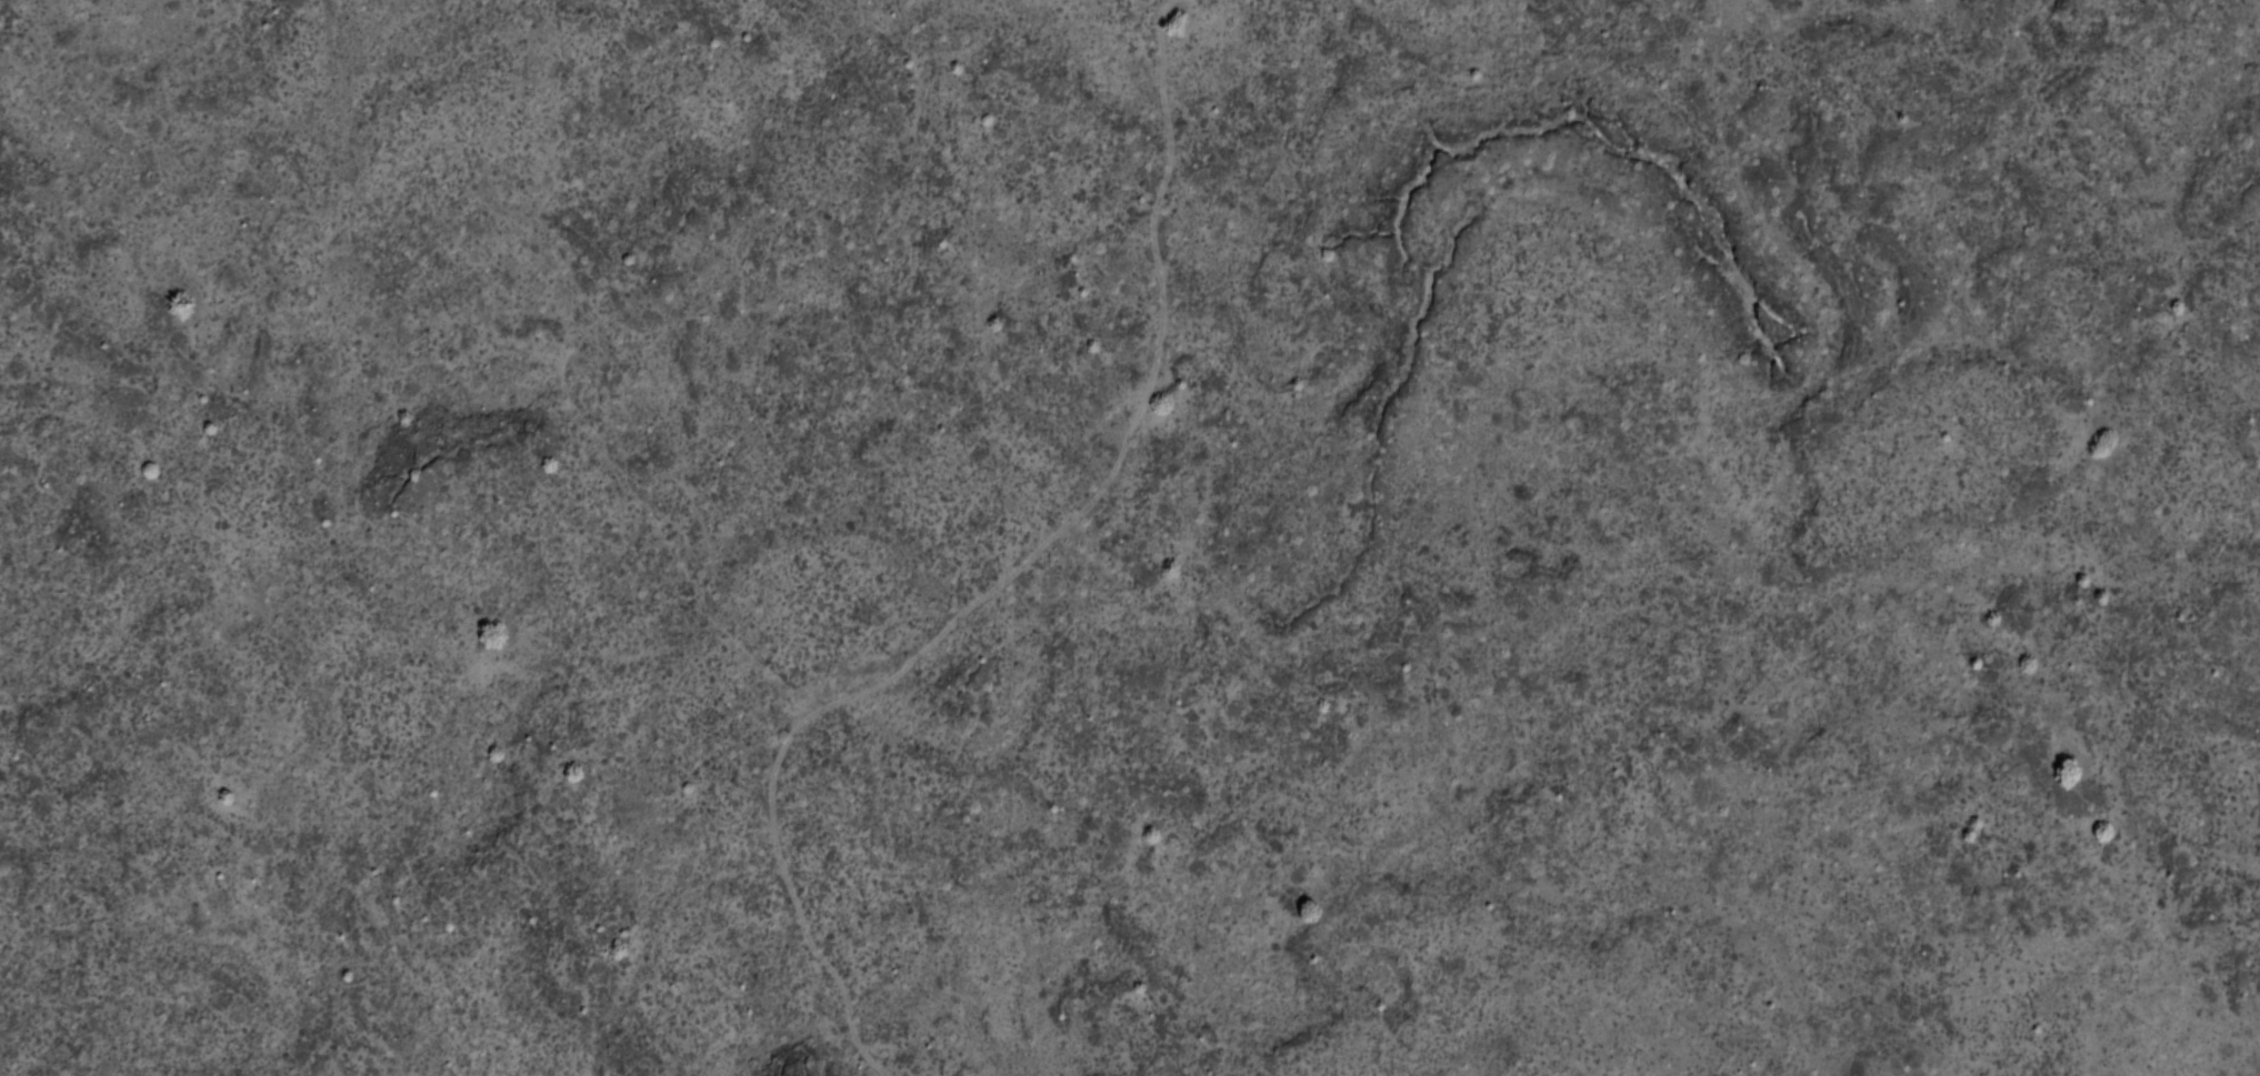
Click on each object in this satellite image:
road: (1007, 580)

